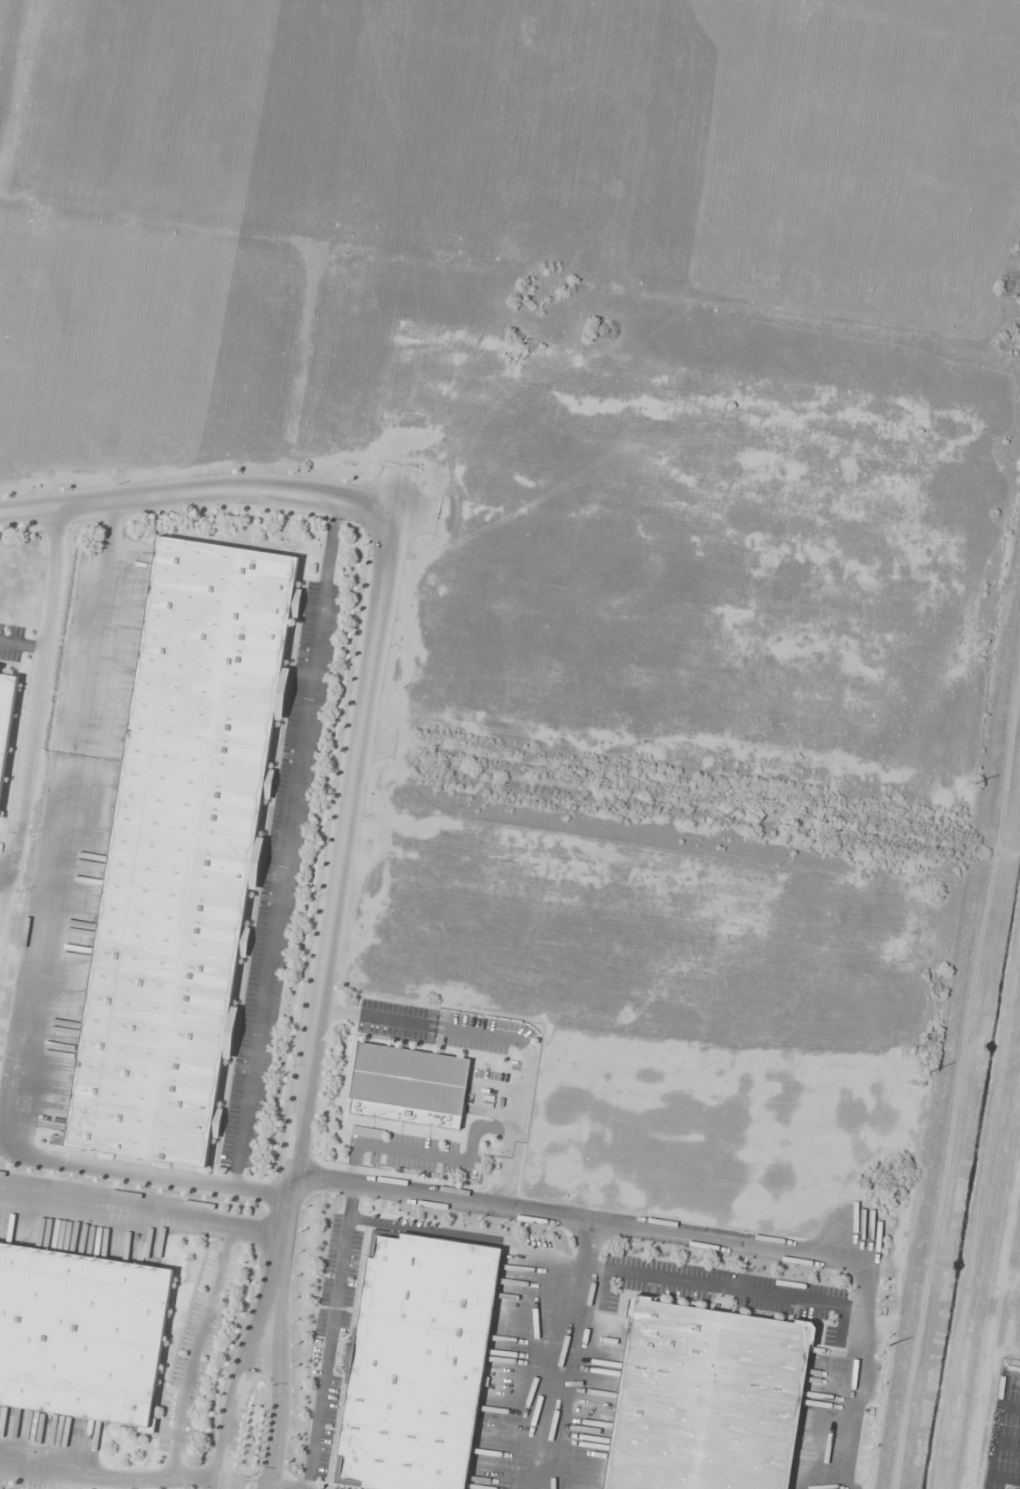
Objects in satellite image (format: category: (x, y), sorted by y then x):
road: (198, 494)
road: (33, 711)
building: (5, 720)
building: (184, 847)
road: (342, 871)
building: (407, 1086)
building: (367, 1133)
road: (143, 1213)
road: (574, 1220)
building: (81, 1333)
road: (859, 1341)
road: (193, 1351)
building: (416, 1364)
road: (247, 1377)
road: (283, 1378)
building: (705, 1399)
road: (145, 1478)

